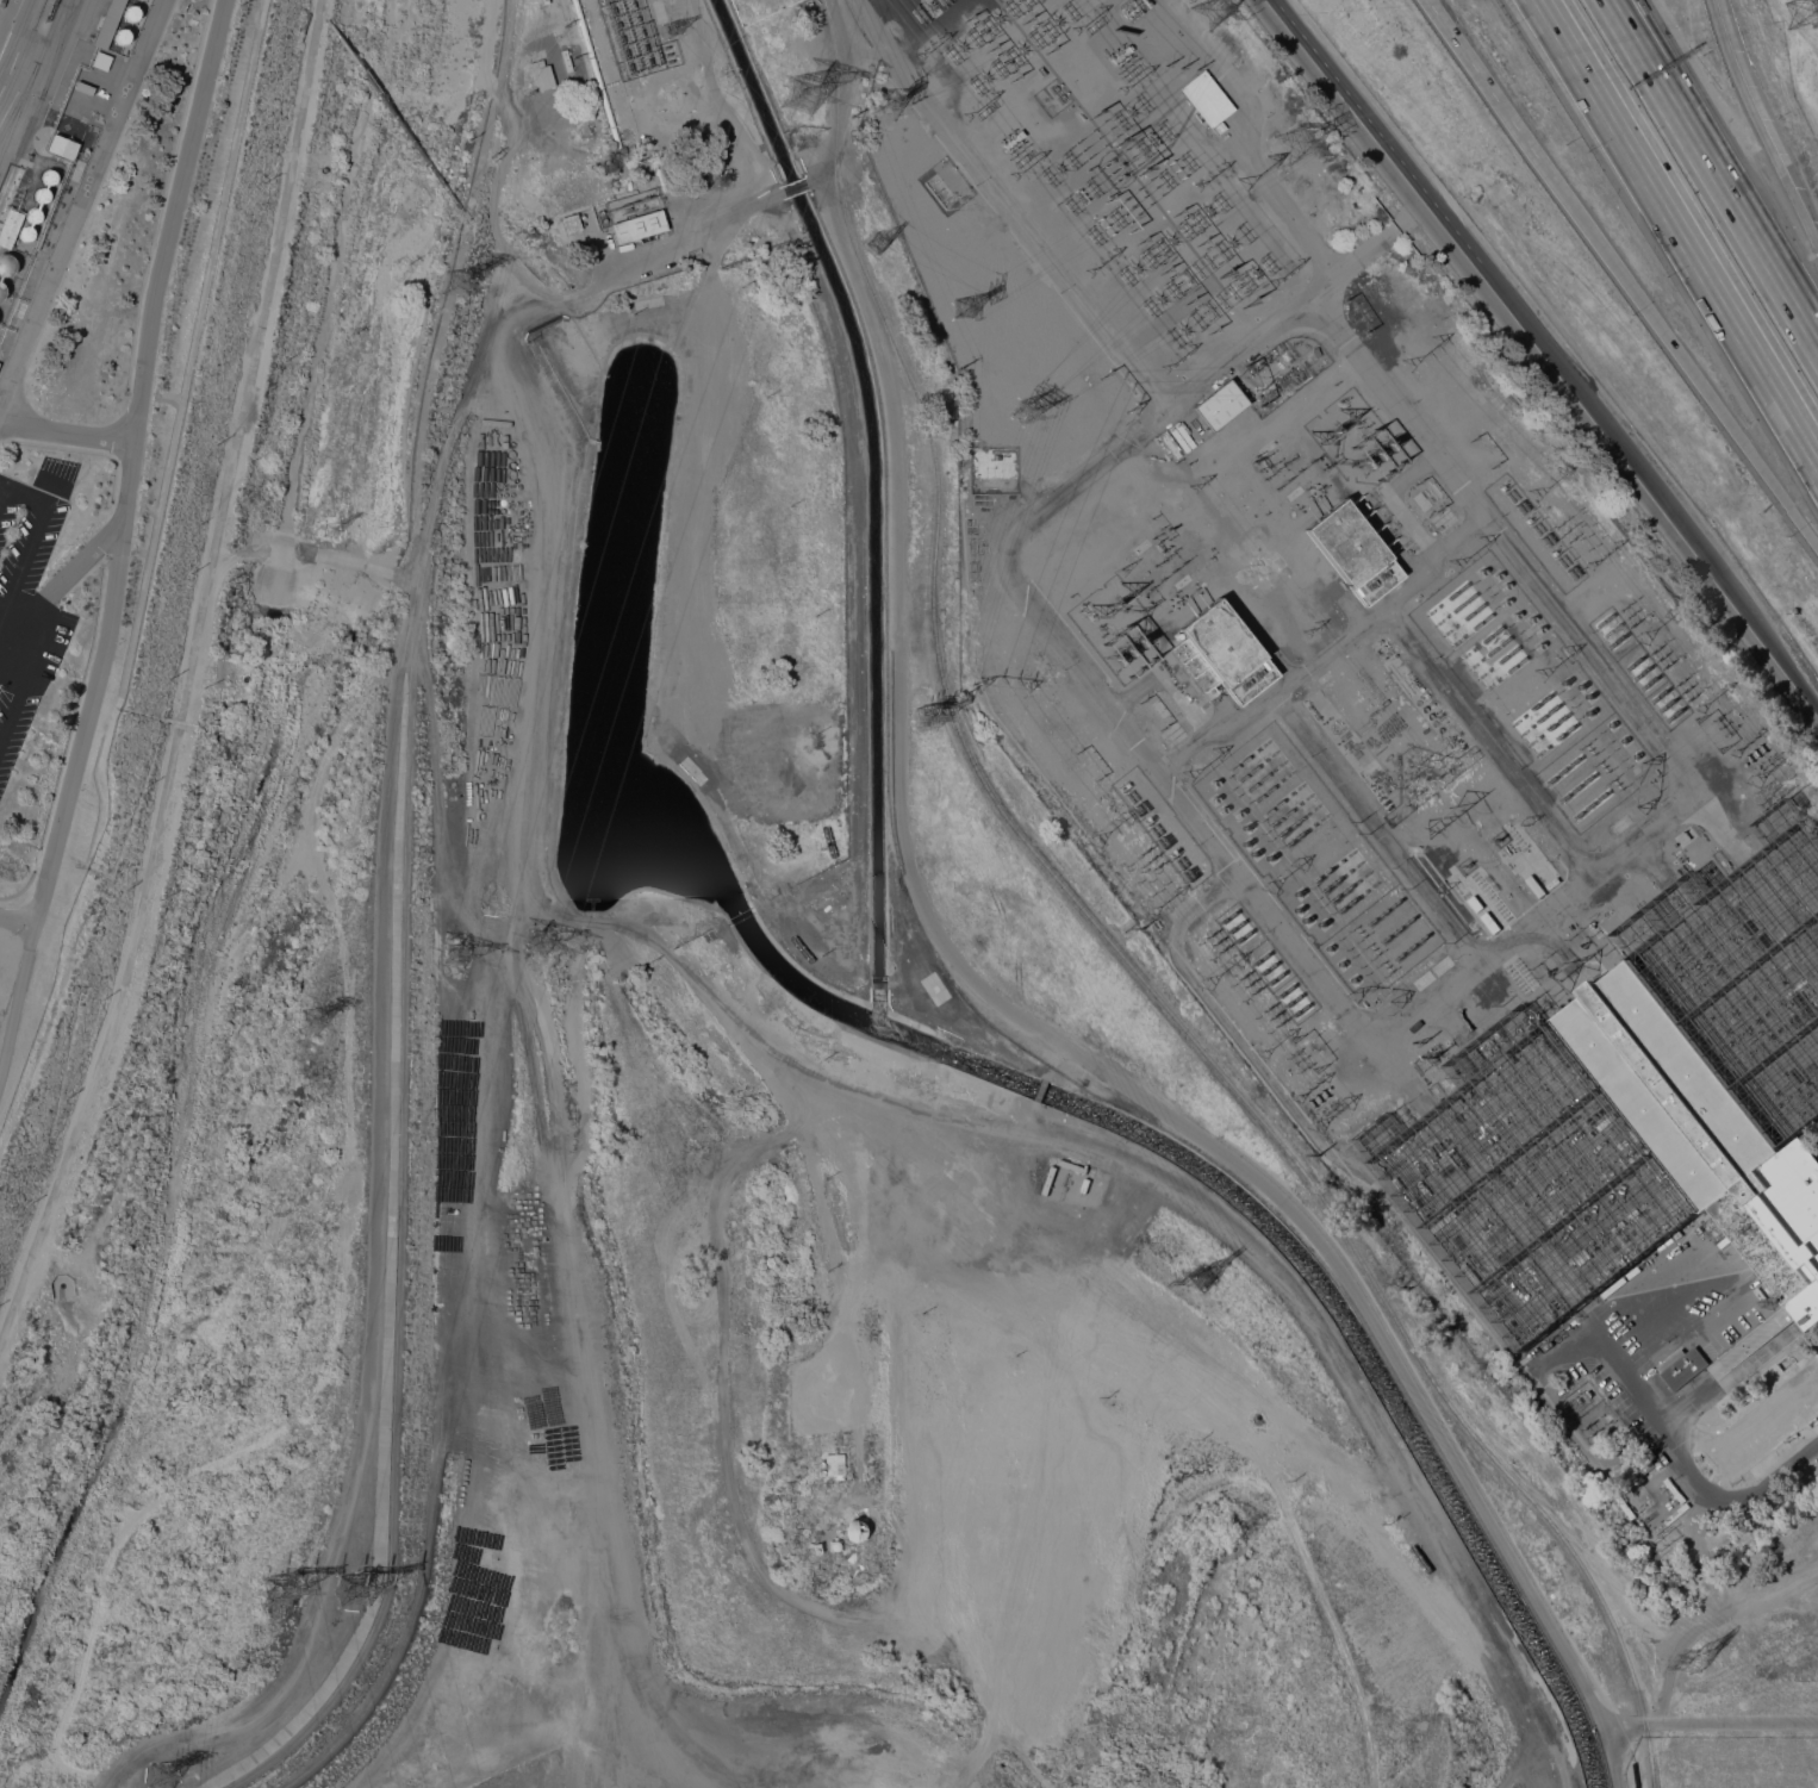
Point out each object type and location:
building: (1, 2)
road: (5, 12)
building: (131, 13)
power tower: (1801, 17)
road: (1544, 18)
road: (1552, 18)
power tower: (1213, 20)
building: (108, 24)
railway: (14, 35)
power tower: (687, 35)
building: (122, 37)
railway: (55, 49)
railway: (23, 51)
building: (99, 61)
railway: (30, 75)
building: (541, 75)
road: (1480, 79)
building: (83, 88)
railway: (18, 98)
railway: (38, 98)
building: (1206, 99)
power tower: (801, 101)
power tower: (898, 113)
road: (1760, 122)
building: (62, 147)
road: (1386, 151)
power tower: (1289, 157)
road: (1716, 169)
road: (816, 173)
building: (49, 177)
road: (793, 187)
building: (41, 195)
road: (82, 201)
building: (33, 216)
building: (571, 223)
building: (639, 226)
building: (10, 228)
road: (696, 232)
building: (26, 233)
road: (1691, 248)
power tower: (882, 260)
building: (6, 264)
power tower: (461, 282)
building: (1, 291)
power tower: (1432, 303)
power tower: (959, 317)
road: (1676, 351)
wastewater plant: (91, 403)
building: (1219, 405)
power tower: (1021, 410)
road: (64, 435)
road: (129, 478)
road: (1661, 505)
power tower: (329, 531)
building: (1352, 550)
road: (8, 599)
road: (4, 602)
building: (1225, 652)
power tower: (929, 717)
power substation: (1382, 721)
building: (1552, 883)
building: (1534, 885)
building: (1476, 903)
building: (1490, 922)
railway: (1113, 942)
power tower: (538, 945)
power tower: (455, 955)
road: (991, 995)
power tower: (310, 1021)
building: (1702, 1130)
power tower: (1208, 1283)
power tower: (187, 1327)
building: (1681, 1366)
road: (1663, 1432)
building: (833, 1464)
building: (820, 1470)
building: (1633, 1478)
building: (1670, 1518)
building: (852, 1531)
building: (833, 1545)
building: (814, 1549)
road: (1700, 1563)
power tower: (278, 1595)
power tower: (359, 1595)
power tower: (1700, 1659)
road: (1712, 1724)
power tower: (163, 1781)

